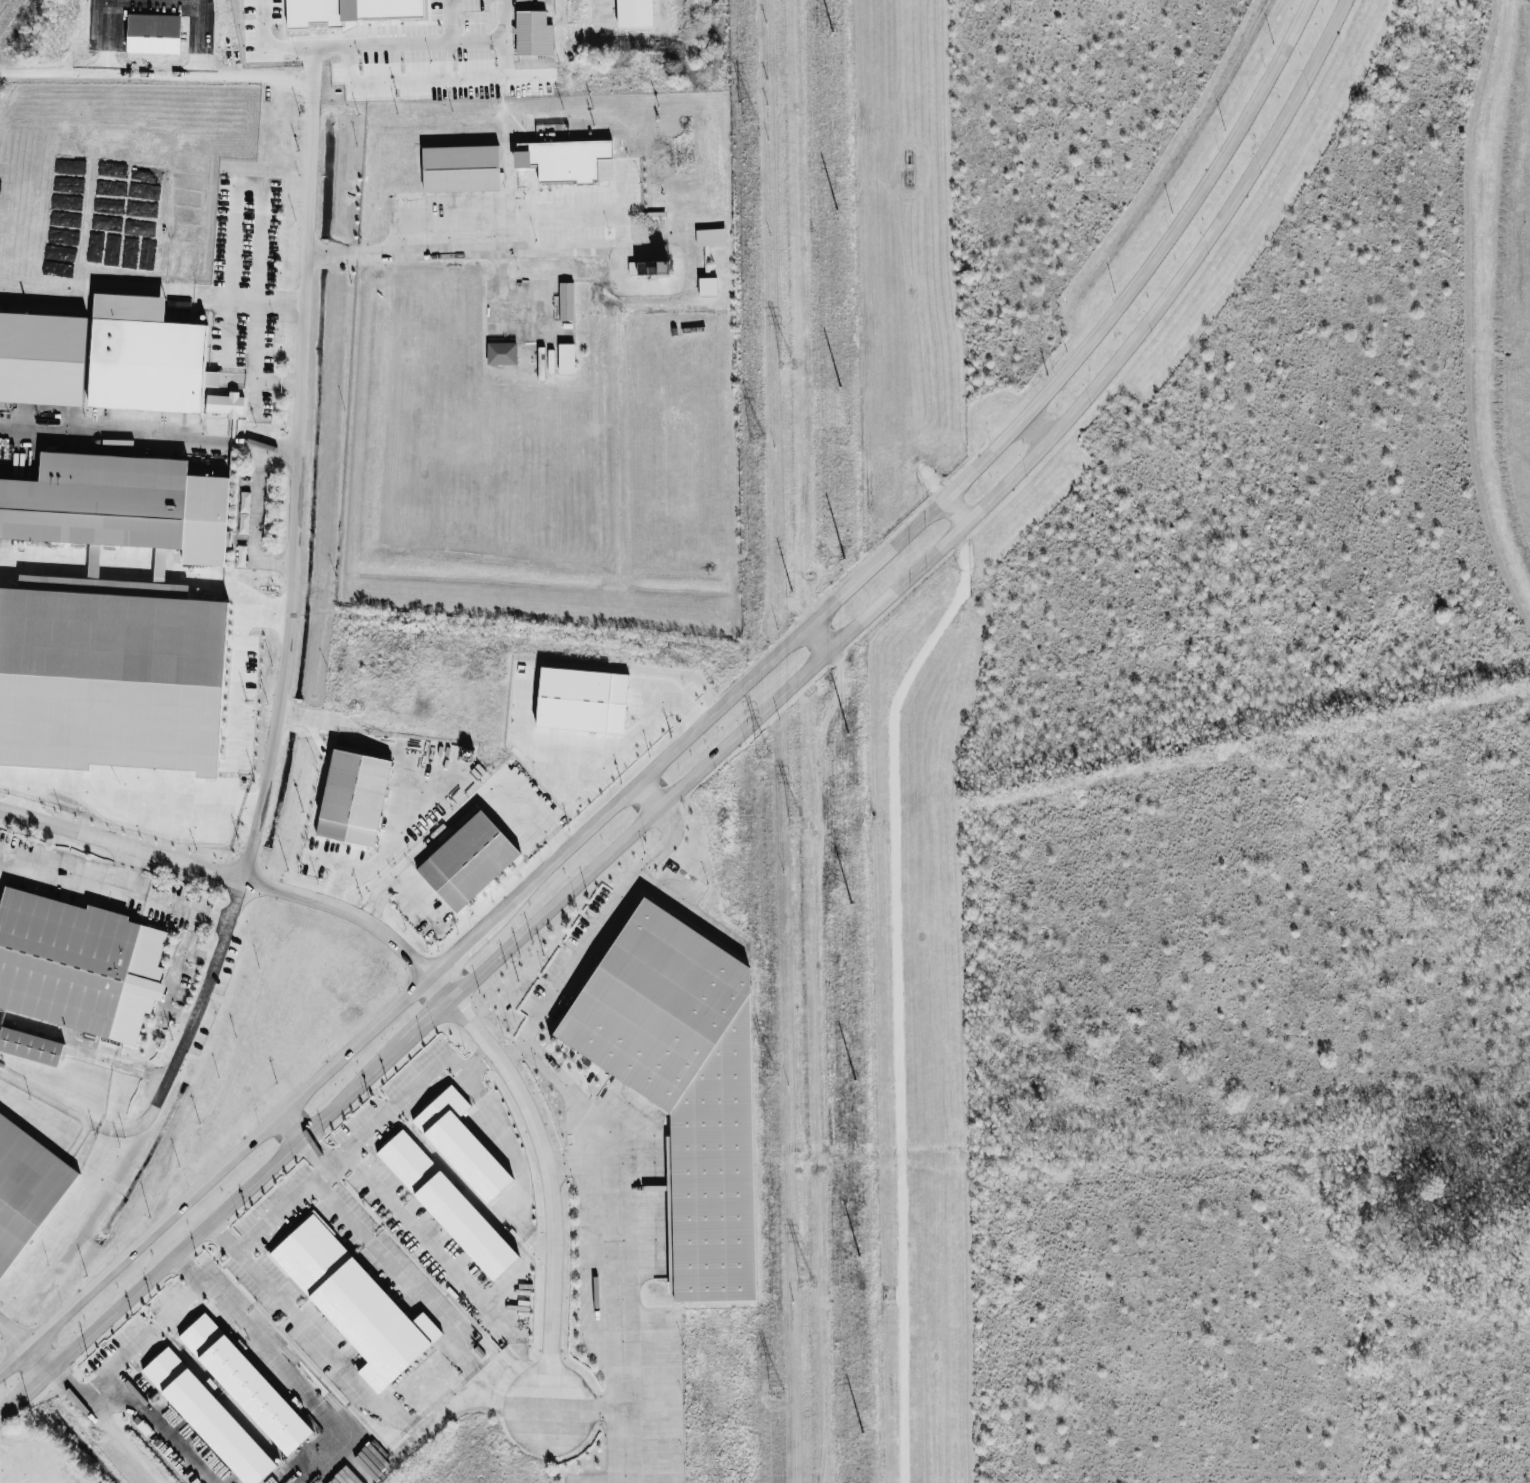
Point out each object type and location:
road: (155, 1)
building: (349, 10)
building: (633, 13)
building: (532, 33)
road: (494, 35)
road: (427, 44)
road: (267, 48)
road: (156, 73)
power tower: (748, 117)
building: (562, 159)
building: (460, 168)
road: (259, 235)
road: (456, 252)
building: (647, 267)
building: (707, 285)
road: (196, 292)
building: (565, 301)
building: (501, 353)
building: (145, 356)
building: (42, 357)
building: (566, 358)
power tower: (784, 363)
road: (276, 381)
building: (225, 404)
power tower: (755, 437)
road: (149, 438)
road: (298, 441)
building: (119, 504)
road: (955, 509)
road: (254, 522)
road: (820, 636)
building: (581, 699)
road: (229, 719)
road: (701, 722)
road: (643, 724)
road: (722, 748)
power tower: (762, 756)
road: (403, 769)
road: (648, 793)
building: (353, 797)
road: (461, 813)
power tower: (794, 822)
building: (467, 861)
road: (127, 869)
road: (113, 887)
road: (417, 904)
road: (593, 934)
building: (76, 964)
road: (433, 976)
road: (172, 978)
road: (896, 990)
building: (30, 1045)
road: (477, 1061)
road: (117, 1064)
road: (426, 1074)
road: (165, 1075)
power tower: (767, 1075)
building: (683, 1085)
road: (290, 1124)
building: (460, 1143)
road: (315, 1150)
building: (26, 1188)
building: (446, 1204)
road: (616, 1246)
road: (444, 1261)
road: (401, 1277)
power tower: (803, 1281)
road: (503, 1284)
road: (181, 1298)
building: (353, 1302)
road: (310, 1334)
road: (39, 1358)
road: (113, 1361)
road: (283, 1368)
building: (244, 1383)
road: (467, 1394)
power tower: (774, 1394)
road: (581, 1412)
building: (208, 1417)
road: (162, 1424)
building: (251, 1427)
road: (118, 1439)
road: (17, 1463)
road: (34, 1481)

